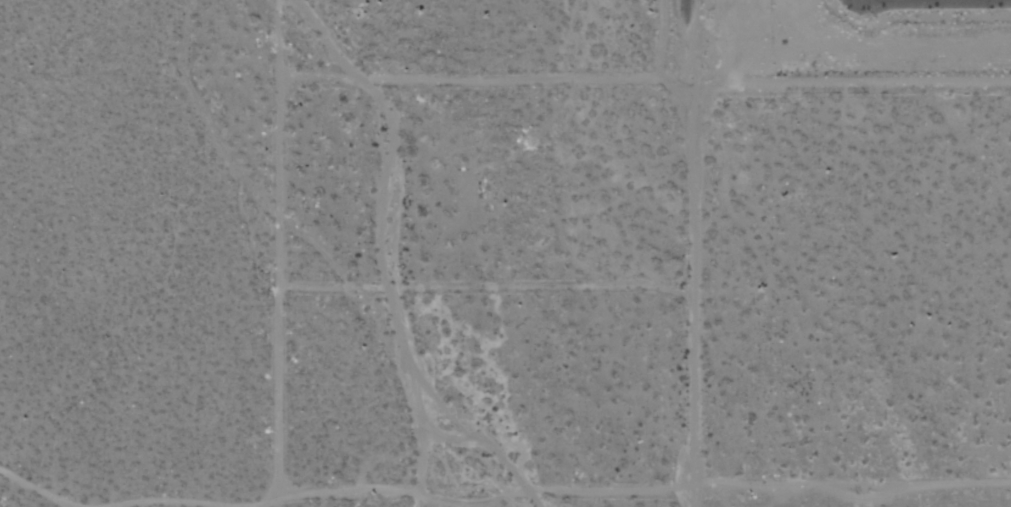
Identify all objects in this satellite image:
road: (690, 43)
road: (851, 84)
road: (693, 296)
road: (853, 484)

